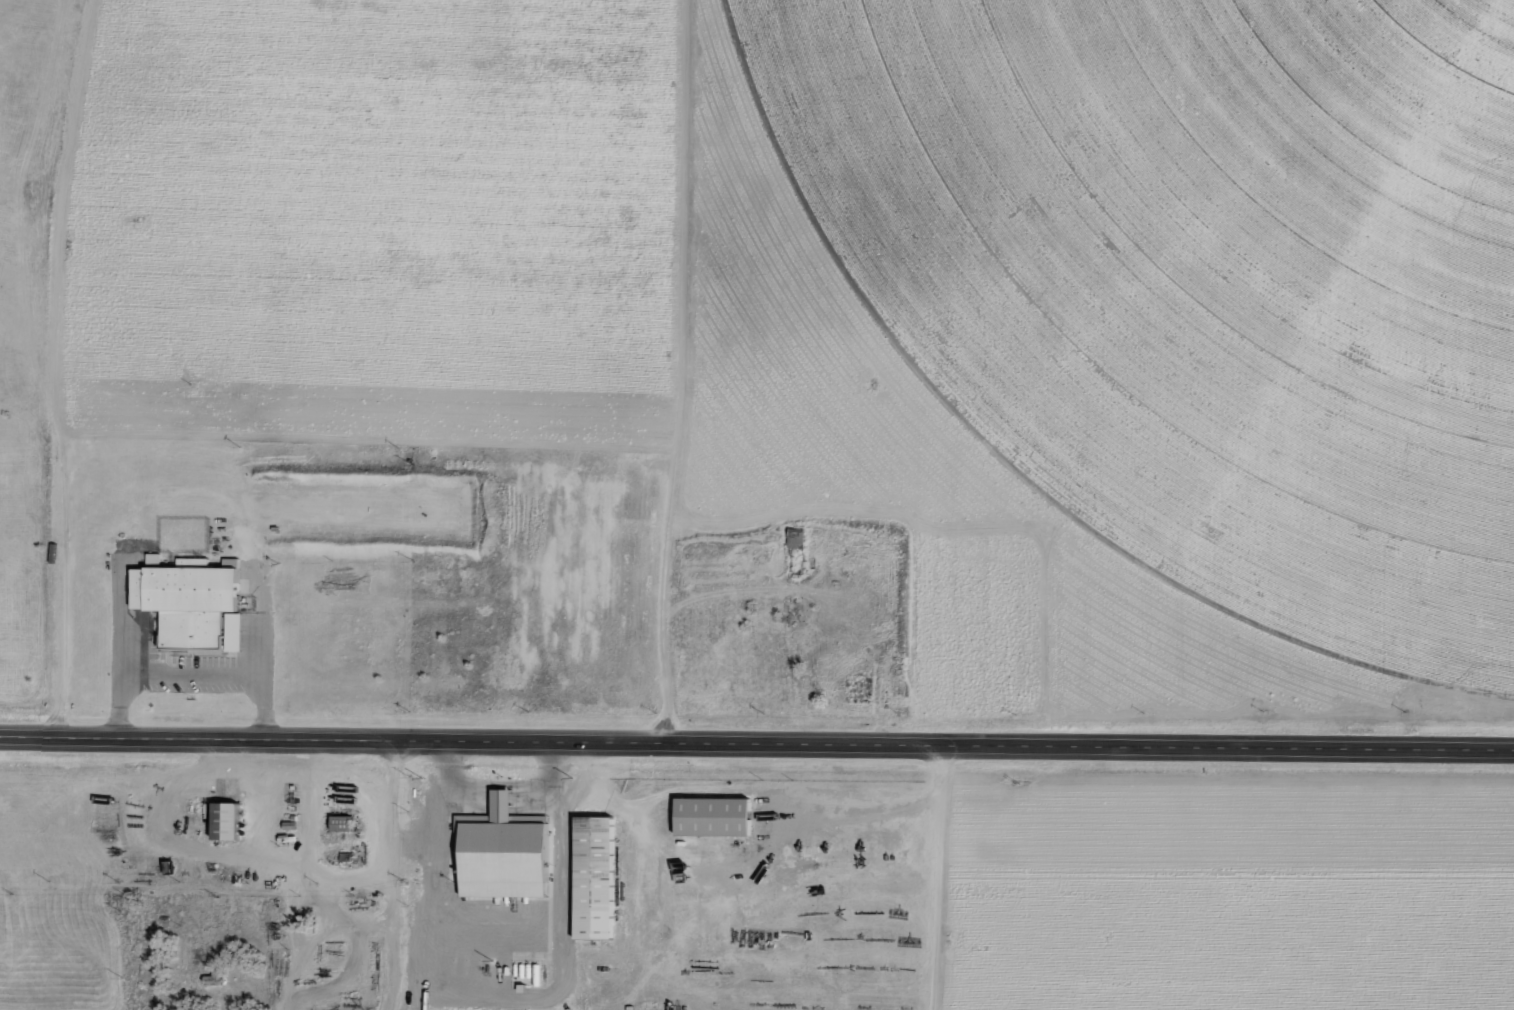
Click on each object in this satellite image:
building: (196, 601)
road: (191, 676)
road: (756, 747)
road: (320, 782)
road: (498, 783)
building: (722, 816)
building: (221, 820)
building: (338, 823)
building: (500, 854)
road: (395, 877)
road: (938, 879)
building: (605, 881)
road: (492, 999)

